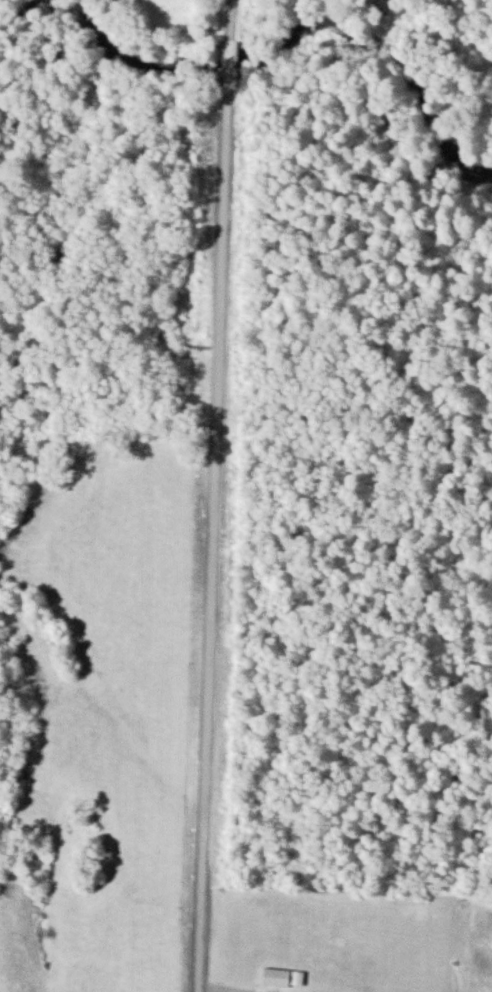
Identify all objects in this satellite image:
road: (229, 25)
river: (275, 58)
road: (227, 70)
road: (212, 541)
building: (284, 977)

